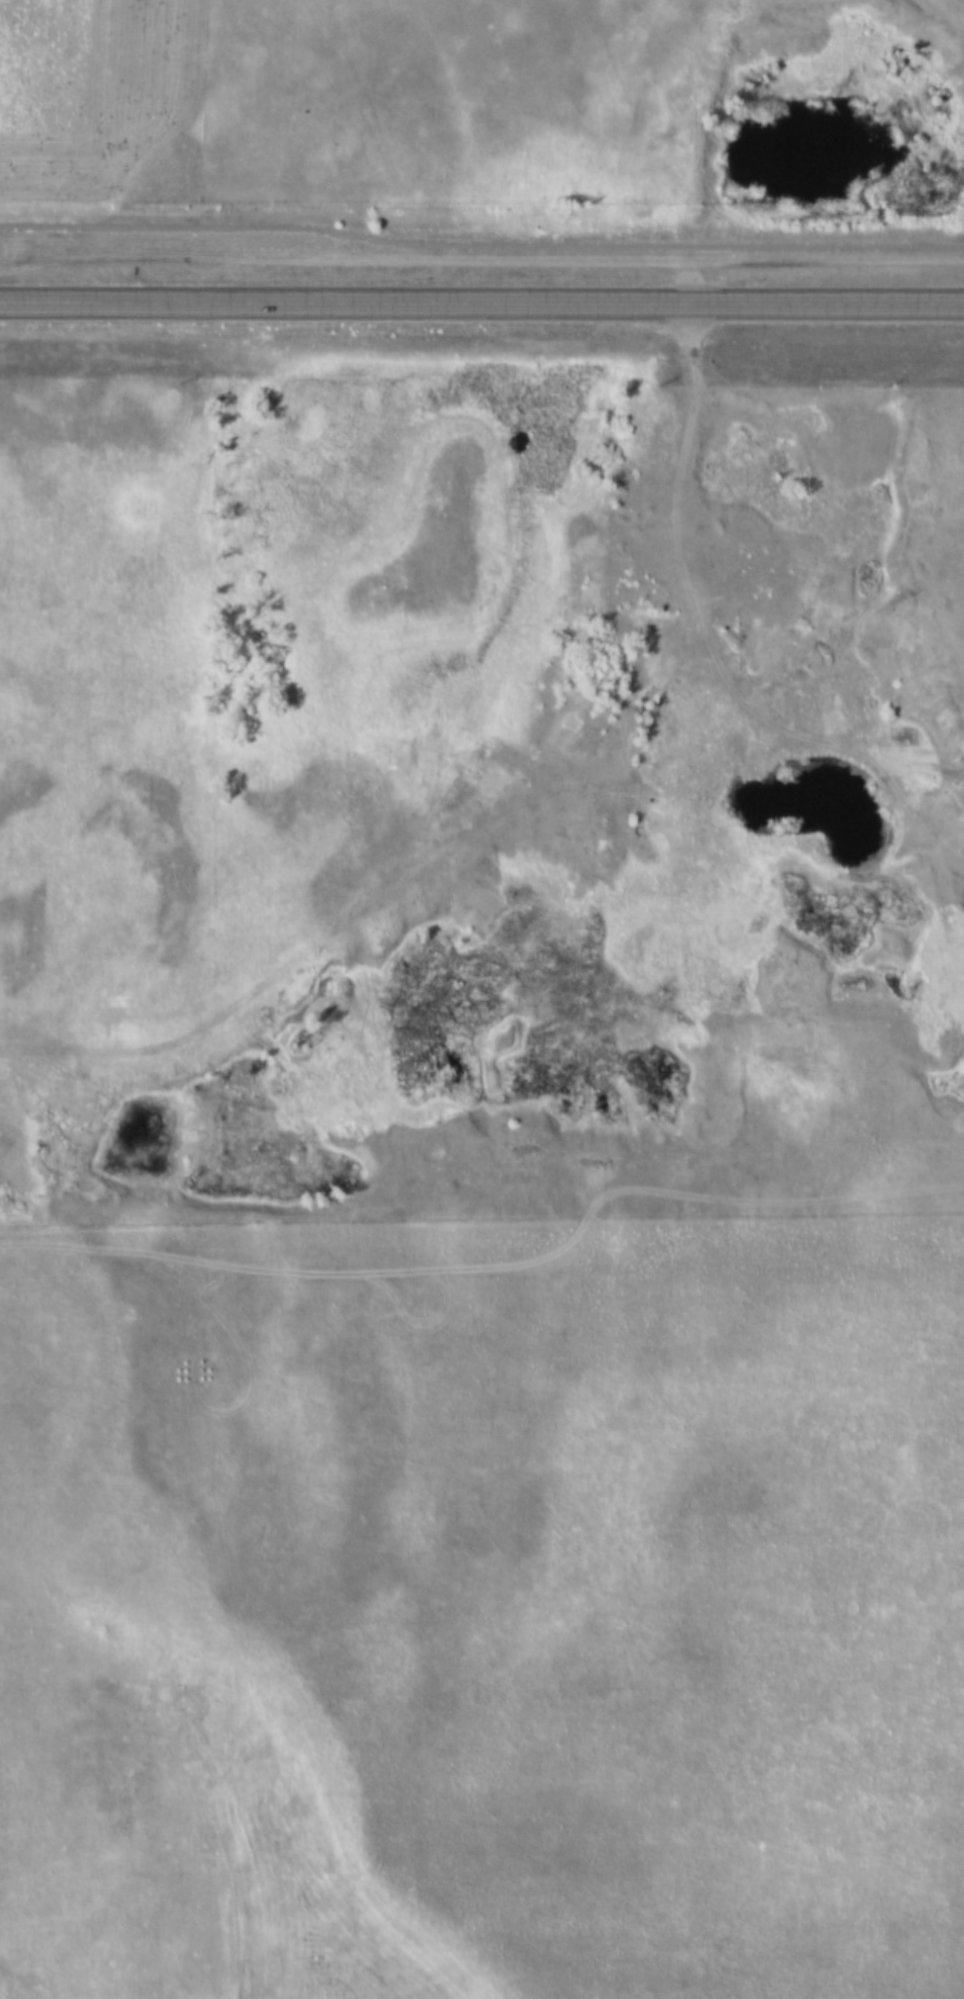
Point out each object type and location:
road: (481, 245)
road: (373, 298)
road: (855, 300)
road: (710, 641)

